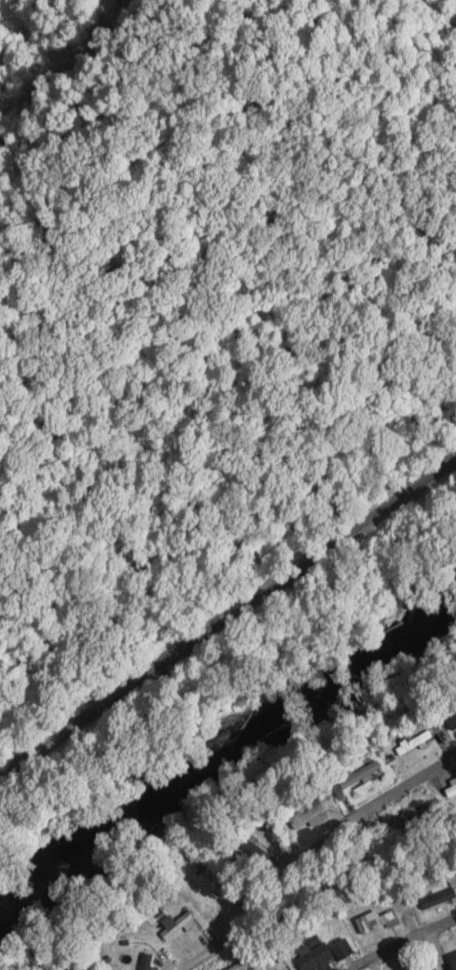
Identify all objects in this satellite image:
railway: (227, 621)
building: (451, 720)
river: (224, 747)
building: (358, 775)
building: (305, 814)
building: (408, 817)
road: (310, 848)
building: (437, 891)
building: (375, 919)
building: (176, 925)
road: (402, 941)
building: (111, 942)
building: (341, 949)
building: (314, 957)
building: (452, 958)
building: (134, 959)
building: (420, 968)

